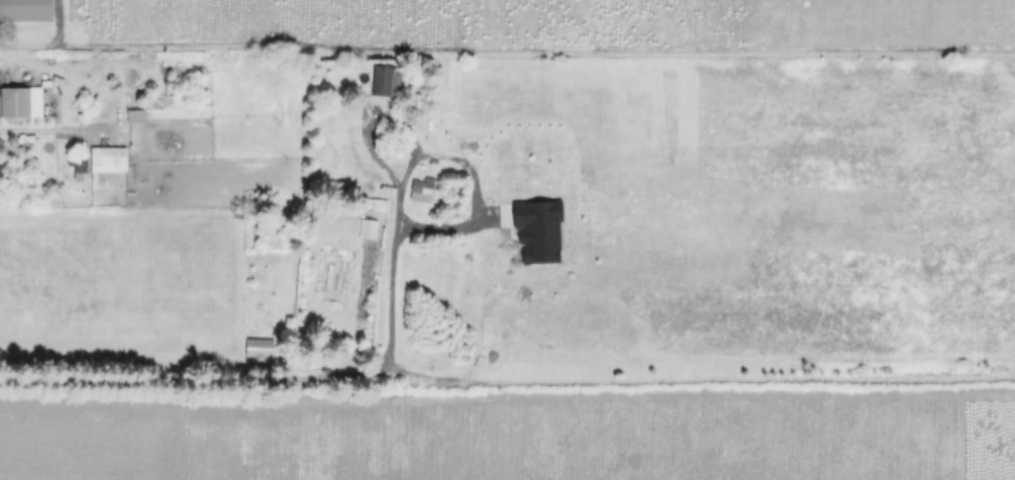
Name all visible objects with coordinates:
building: (26, 10)
road: (89, 41)
building: (387, 80)
building: (16, 102)
building: (136, 110)
road: (37, 131)
building: (110, 156)
building: (423, 190)
building: (539, 222)
building: (370, 227)
building: (338, 272)
road: (351, 312)
building: (261, 347)
road: (307, 372)

